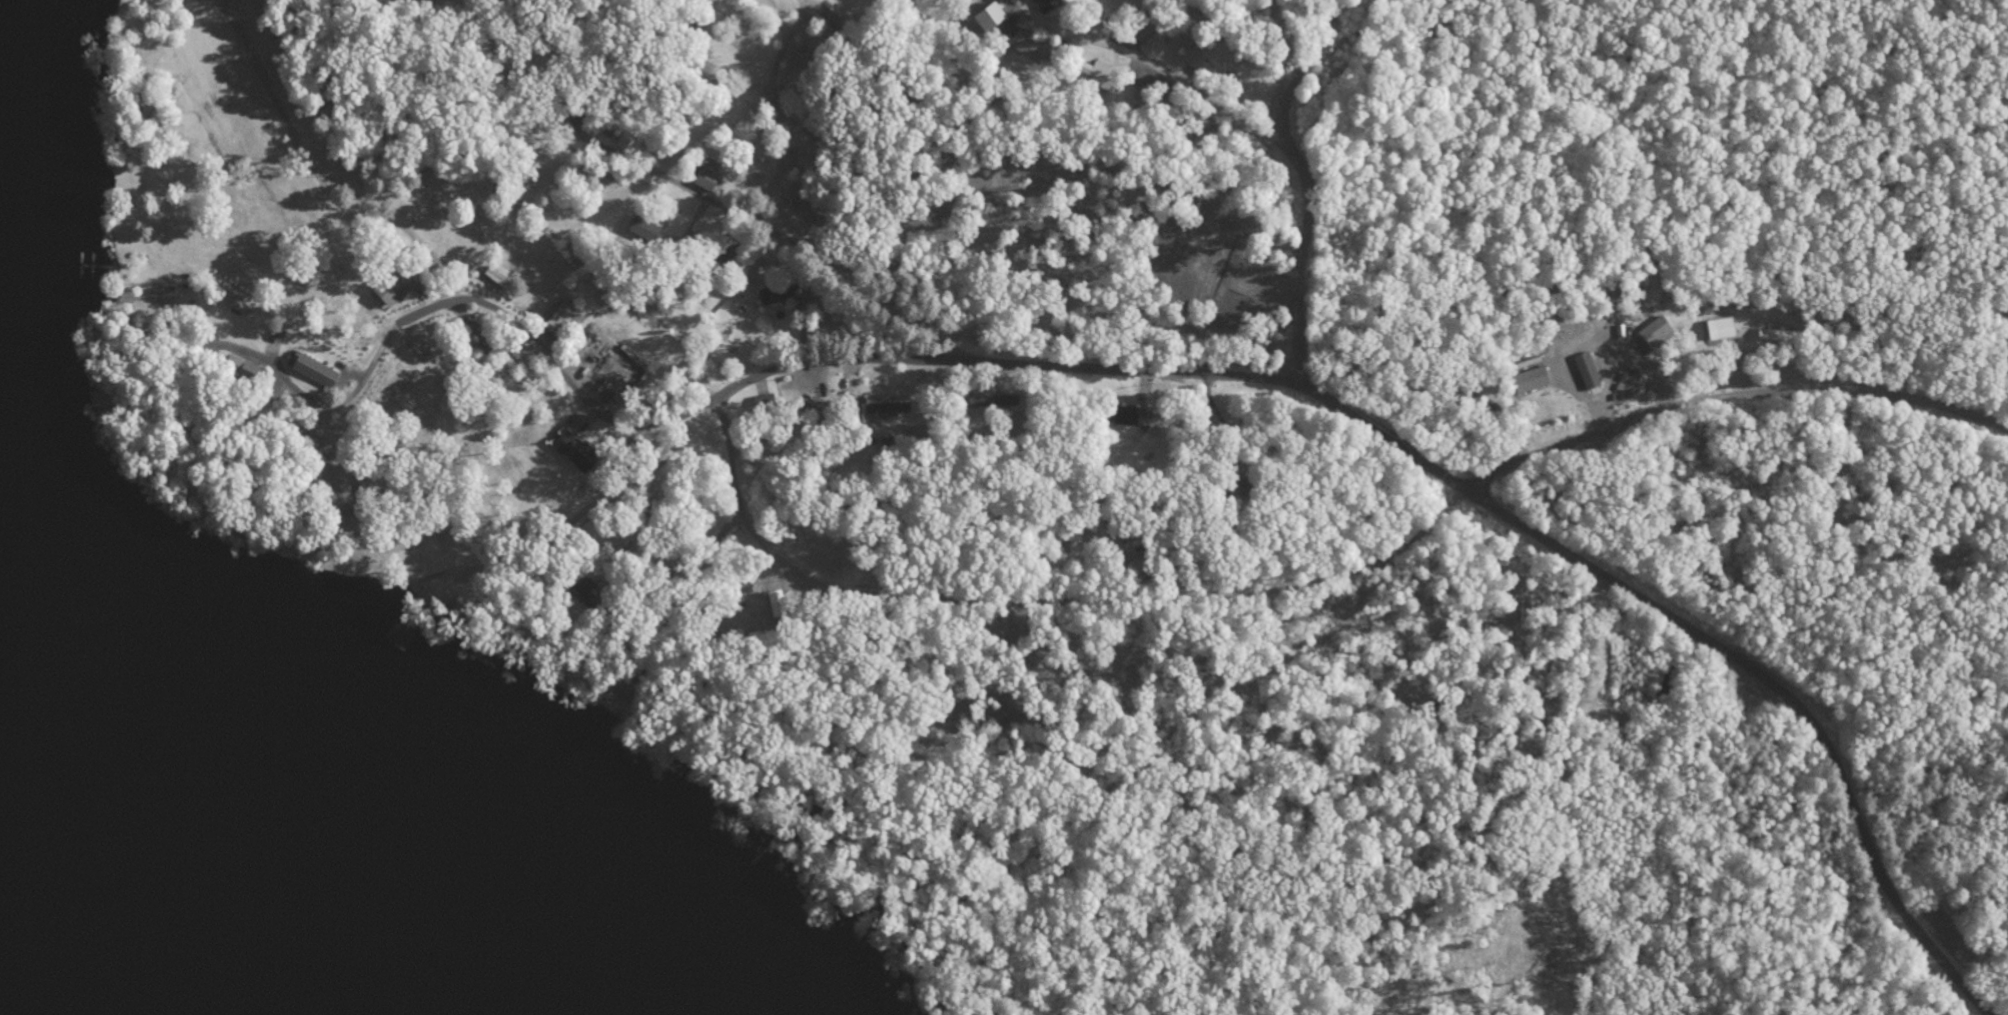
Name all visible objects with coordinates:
building: (992, 19)
building: (1032, 50)
road: (1161, 70)
building: (1100, 76)
road: (266, 100)
road: (771, 116)
road: (310, 161)
building: (709, 181)
road: (1304, 183)
road: (302, 205)
building: (646, 230)
road: (795, 249)
building: (398, 287)
building: (780, 296)
building: (1722, 330)
building: (1659, 335)
road: (378, 359)
building: (318, 372)
building: (1590, 374)
building: (1532, 382)
road: (1321, 396)
road: (1409, 401)
building: (875, 408)
building: (1127, 417)
building: (576, 455)
road: (1323, 577)
road: (673, 617)
road: (590, 731)

